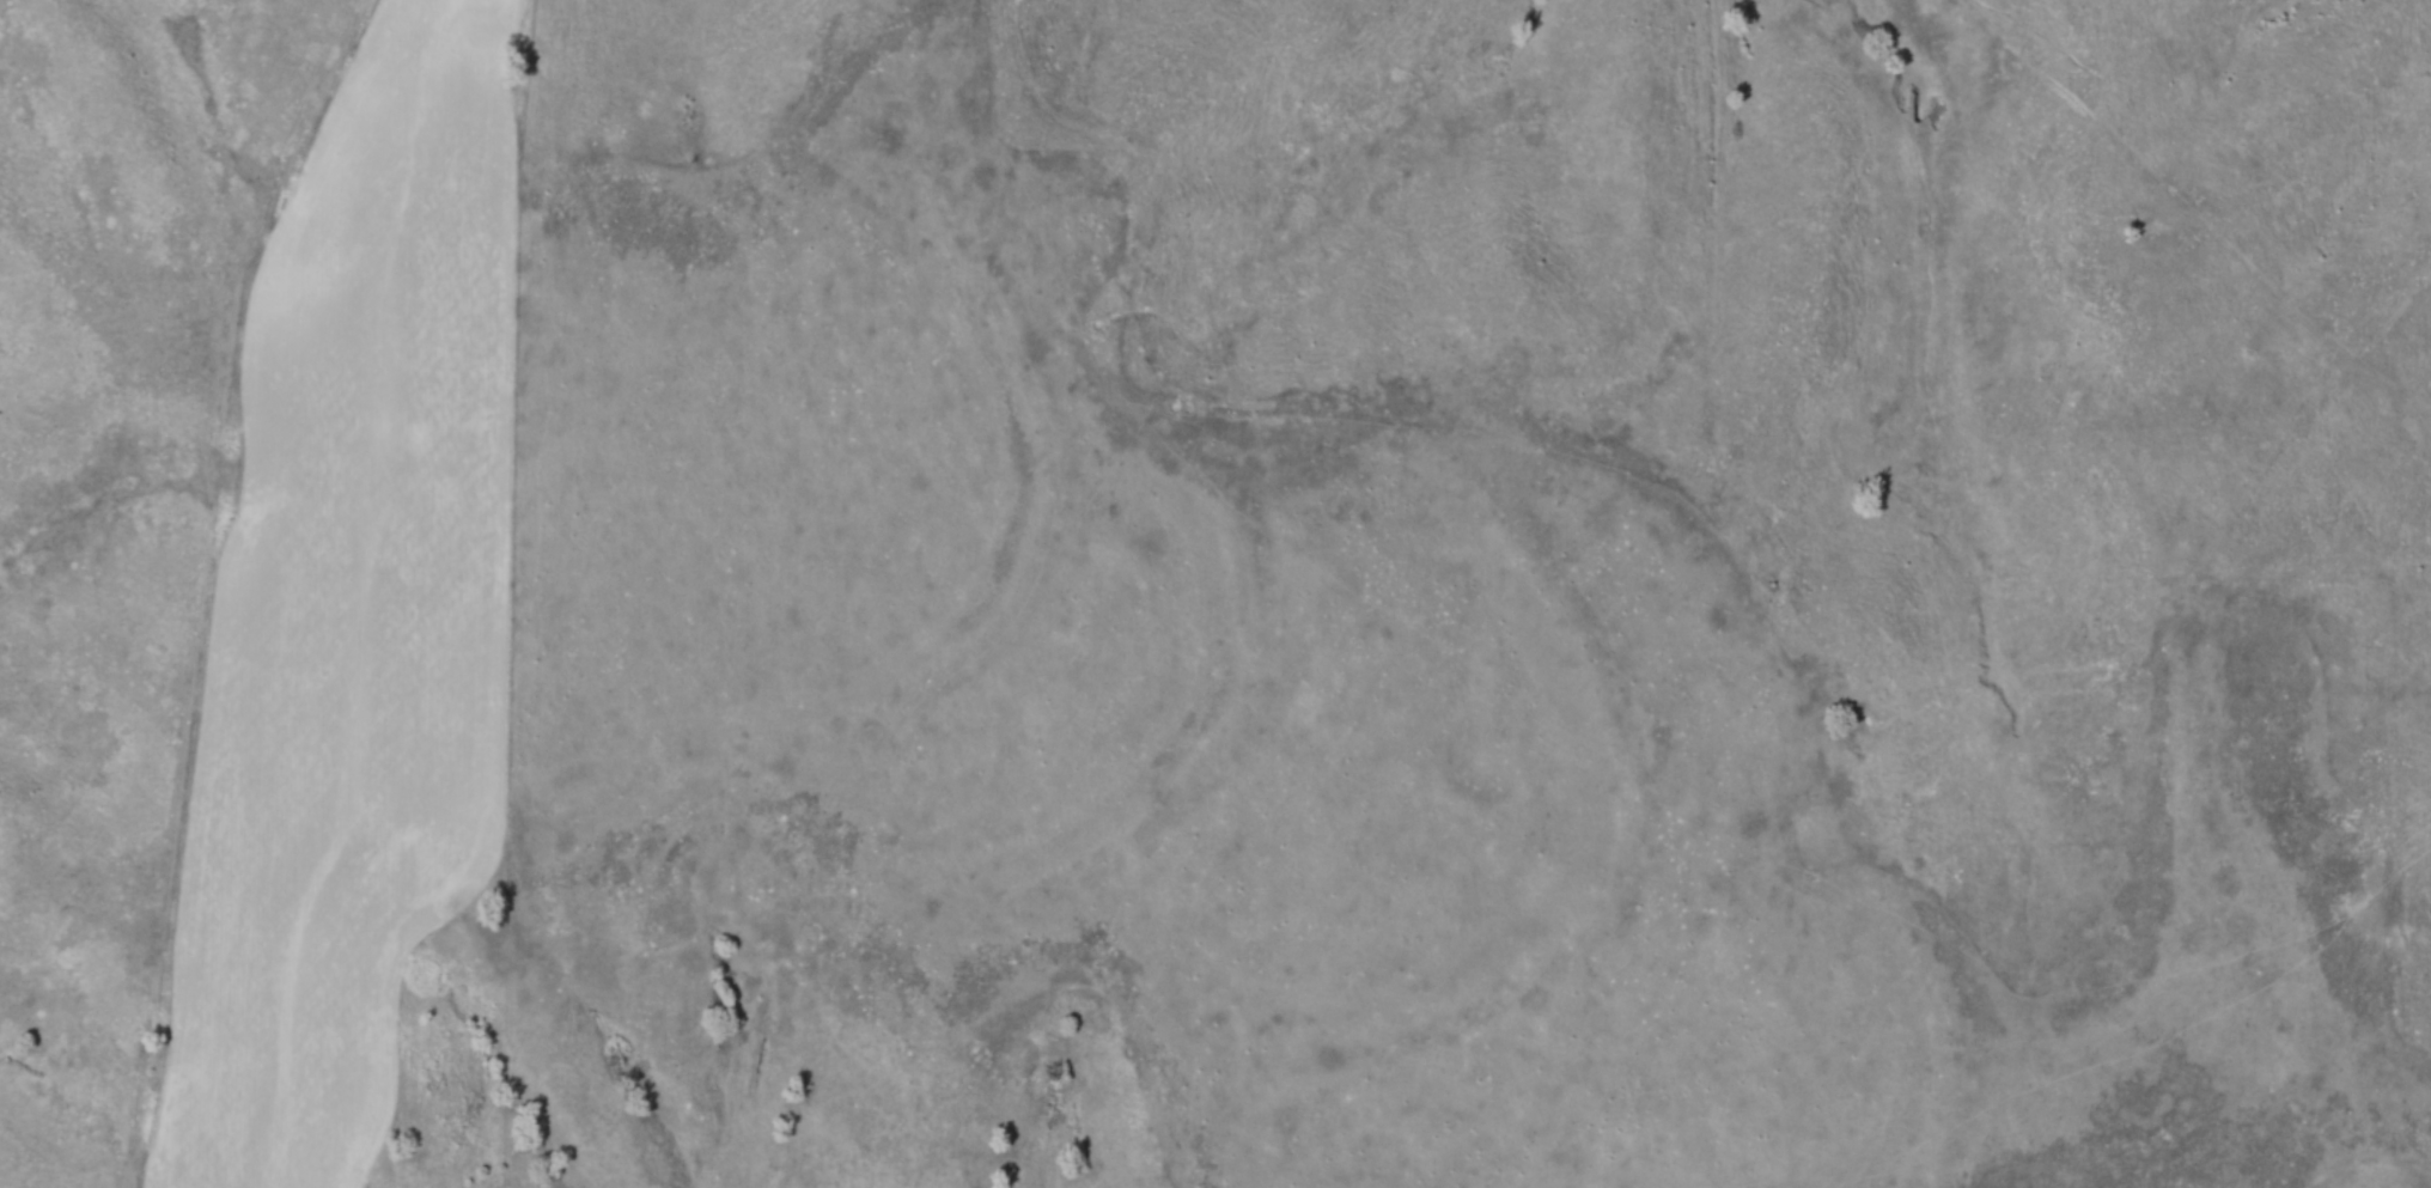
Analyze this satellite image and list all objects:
crop: (355, 626)

